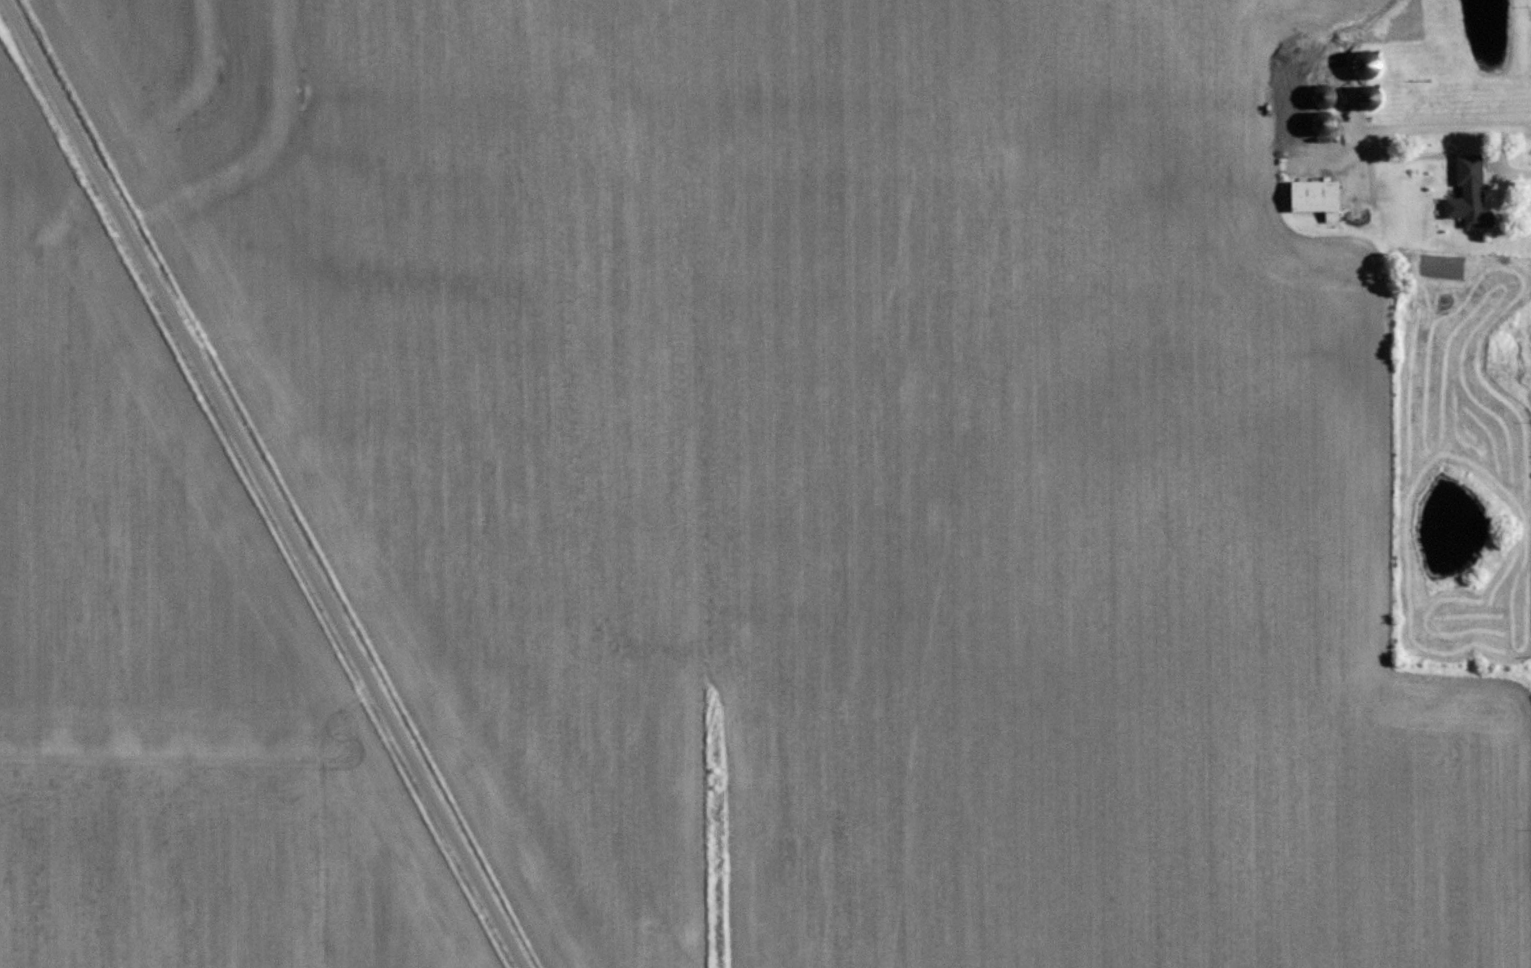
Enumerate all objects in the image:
building: (1355, 61)
building: (1322, 94)
building: (1366, 96)
building: (1297, 100)
building: (1321, 122)
building: (1315, 197)
building: (1466, 200)
road: (263, 484)

